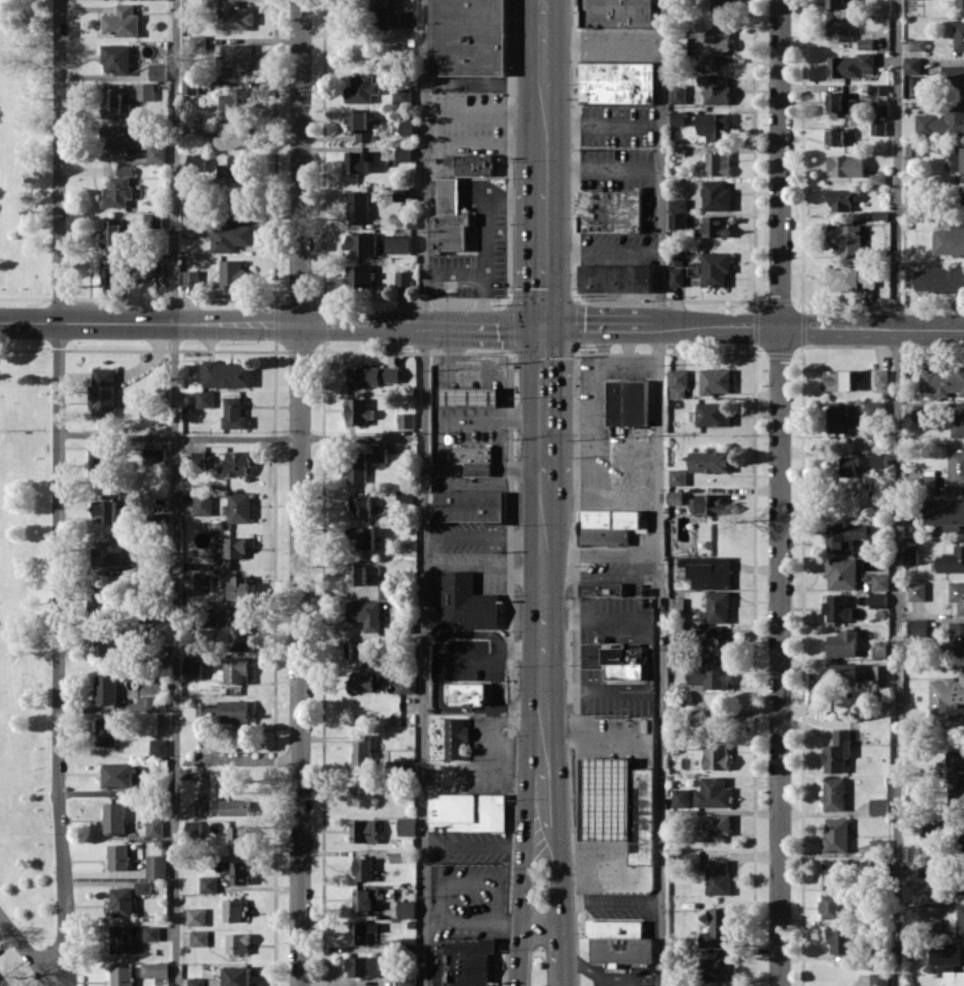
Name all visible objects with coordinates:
building: (836, 3)
building: (961, 3)
building: (719, 4)
road: (544, 11)
building: (616, 13)
building: (237, 15)
building: (382, 15)
building: (403, 19)
building: (121, 21)
building: (840, 29)
building: (468, 36)
building: (959, 36)
building: (195, 39)
building: (866, 43)
building: (918, 44)
road: (602, 46)
building: (713, 46)
building: (238, 56)
building: (117, 58)
building: (912, 64)
building: (851, 65)
building: (159, 71)
building: (953, 77)
road: (544, 80)
building: (616, 81)
building: (190, 86)
building: (362, 88)
building: (715, 89)
building: (145, 91)
building: (402, 94)
building: (236, 99)
building: (840, 102)
building: (116, 103)
building: (679, 117)
building: (943, 121)
building: (360, 124)
road: (602, 124)
building: (713, 125)
building: (195, 126)
building: (408, 127)
building: (878, 127)
building: (234, 135)
building: (119, 136)
building: (836, 136)
building: (914, 148)
road: (544, 152)
building: (157, 153)
building: (404, 153)
building: (958, 158)
building: (963, 158)
road: (59, 161)
building: (197, 162)
building: (358, 162)
building: (718, 163)
building: (475, 164)
building: (846, 165)
road: (603, 166)
building: (235, 168)
building: (125, 170)
building: (878, 178)
building: (118, 191)
building: (403, 194)
building: (716, 195)
building: (841, 199)
road: (455, 202)
building: (237, 204)
building: (678, 204)
building: (963, 206)
building: (358, 207)
road: (483, 209)
building: (610, 211)
building: (880, 214)
building: (912, 214)
building: (151, 217)
building: (449, 218)
building: (678, 220)
building: (714, 226)
building: (191, 228)
building: (127, 232)
building: (113, 233)
building: (230, 237)
building: (846, 238)
building: (949, 240)
building: (363, 243)
building: (399, 244)
road: (544, 246)
road: (603, 253)
building: (155, 268)
building: (716, 268)
building: (112, 270)
building: (677, 270)
building: (233, 271)
road: (479, 273)
building: (359, 275)
building: (192, 277)
building: (404, 278)
building: (616, 278)
building: (850, 278)
building: (939, 278)
road: (29, 321)
road: (302, 323)
traffic signals: (545, 325)
road: (754, 326)
building: (227, 374)
building: (373, 375)
building: (881, 377)
building: (838, 379)
building: (716, 380)
building: (942, 380)
building: (678, 383)
building: (104, 391)
building: (469, 396)
building: (205, 398)
road: (544, 398)
building: (627, 402)
building: (875, 409)
building: (360, 411)
building: (921, 411)
building: (234, 413)
building: (712, 413)
building: (407, 419)
building: (840, 419)
building: (957, 419)
road: (179, 438)
building: (380, 454)
building: (154, 456)
building: (199, 457)
building: (474, 458)
building: (880, 460)
building: (710, 461)
building: (237, 463)
building: (100, 464)
building: (846, 465)
building: (956, 467)
building: (356, 468)
park: (26, 470)
building: (677, 476)
building: (927, 485)
road: (425, 492)
road: (657, 492)
road: (175, 493)
road: (300, 493)
road: (779, 493)
road: (898, 493)
building: (405, 497)
building: (676, 497)
building: (203, 504)
building: (361, 504)
building: (709, 504)
building: (471, 505)
building: (240, 507)
building: (106, 510)
building: (946, 512)
building: (610, 525)
building: (875, 533)
building: (362, 537)
building: (845, 537)
road: (600, 551)
building: (232, 552)
building: (108, 553)
building: (911, 555)
building: (952, 560)
building: (132, 569)
building: (710, 572)
building: (359, 573)
building: (842, 573)
road: (544, 576)
building: (881, 581)
building: (241, 586)
building: (601, 588)
building: (387, 589)
building: (917, 591)
building: (958, 594)
building: (878, 600)
building: (100, 601)
building: (467, 602)
building: (719, 606)
building: (838, 608)
building: (366, 613)
building: (918, 627)
building: (238, 636)
building: (957, 638)
building: (717, 640)
building: (108, 643)
building: (844, 643)
building: (359, 648)
building: (880, 650)
road: (59, 654)
building: (624, 660)
building: (194, 666)
building: (237, 669)
building: (881, 671)
building: (845, 672)
building: (711, 675)
building: (365, 681)
building: (407, 684)
building: (107, 688)
building: (468, 693)
building: (947, 697)
building: (157, 703)
building: (730, 706)
building: (225, 711)
road: (539, 728)
building: (107, 731)
building: (448, 738)
building: (159, 747)
building: (838, 751)
building: (363, 754)
building: (717, 756)
building: (396, 765)
building: (118, 775)
building: (956, 775)
building: (713, 792)
building: (835, 793)
building: (363, 795)
building: (681, 797)
road: (555, 803)
building: (618, 804)
building: (203, 806)
building: (879, 806)
building: (235, 807)
road: (530, 809)
building: (468, 811)
building: (115, 817)
building: (407, 826)
building: (714, 826)
building: (154, 827)
building: (194, 829)
building: (364, 830)
building: (837, 834)
building: (238, 836)
building: (961, 838)
road: (543, 843)
road: (483, 844)
building: (879, 845)
building: (136, 849)
building: (119, 856)
building: (397, 856)
building: (692, 859)
building: (157, 866)
building: (364, 868)
building: (236, 870)
building: (835, 873)
building: (718, 877)
building: (963, 878)
building: (209, 884)
building: (143, 887)
road: (439, 895)
building: (367, 897)
building: (123, 902)
building: (832, 906)
building: (407, 908)
building: (233, 910)
road: (522, 914)
building: (196, 916)
road: (432, 917)
building: (961, 919)
road: (543, 924)
building: (936, 925)
building: (718, 928)
building: (363, 931)
building: (152, 933)
building: (122, 938)
building: (199, 938)
building: (842, 940)
building: (619, 941)
building: (238, 942)
building: (408, 945)
road: (27, 949)
building: (946, 953)
road: (565, 955)
building: (463, 962)
building: (364, 966)
building: (718, 967)
building: (155, 969)
building: (122, 975)
building: (238, 975)
building: (408, 978)
building: (954, 978)
building: (880, 979)
building: (192, 981)
building: (0, 985)

